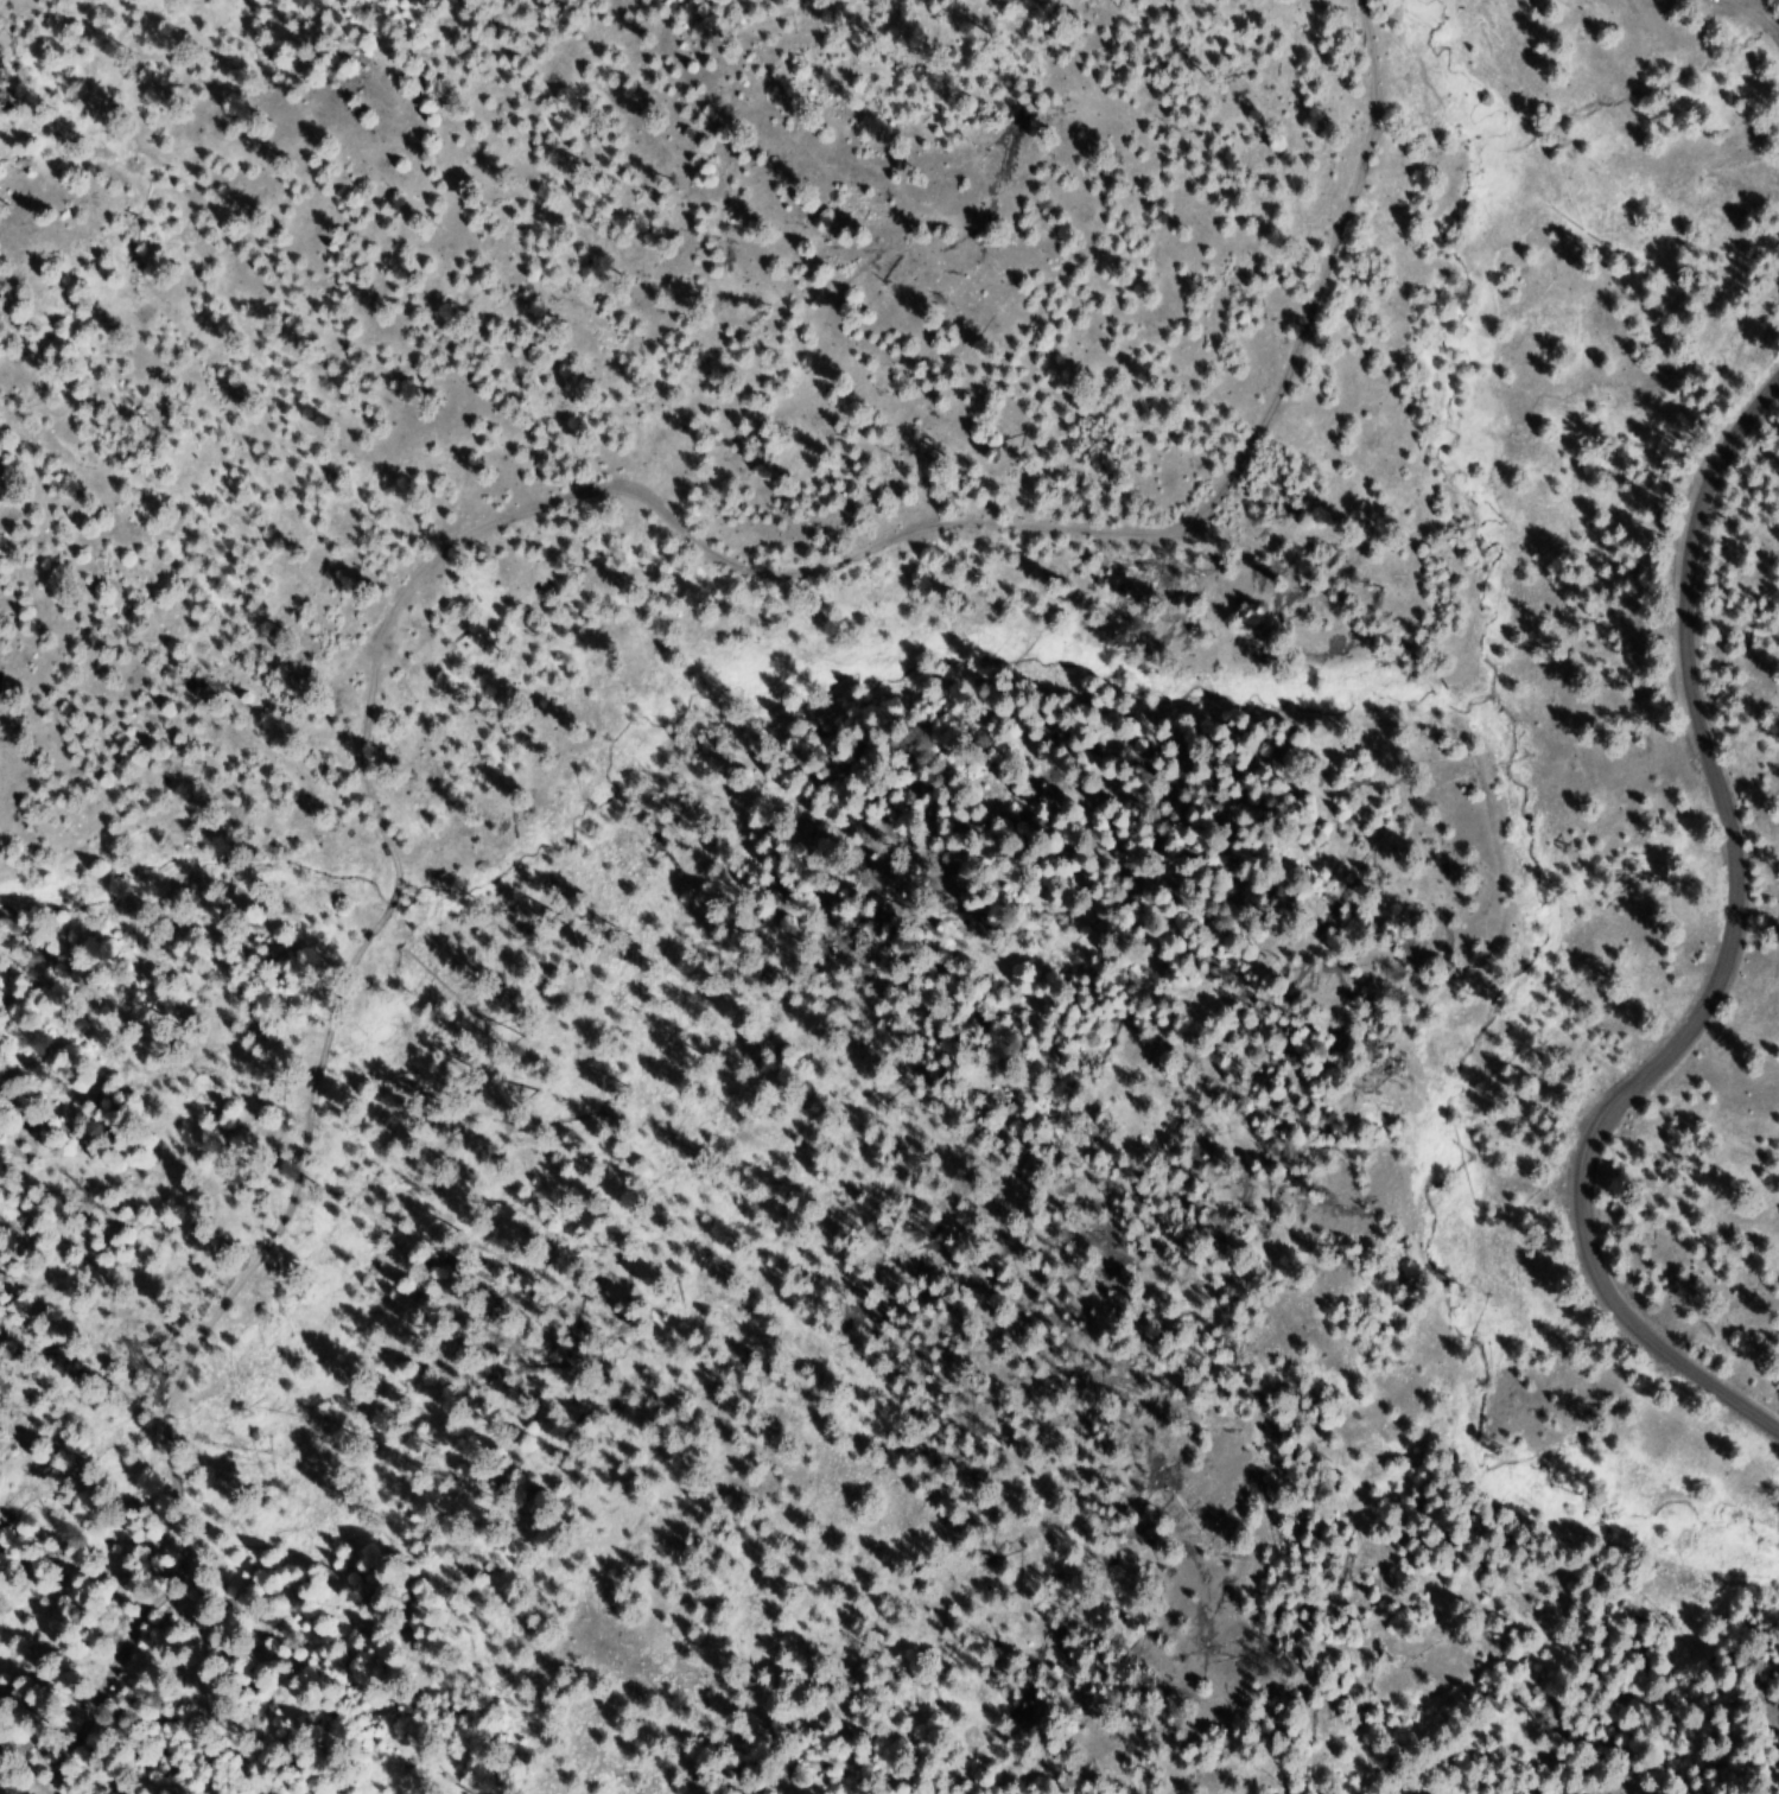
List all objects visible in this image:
road: (1724, 952)

